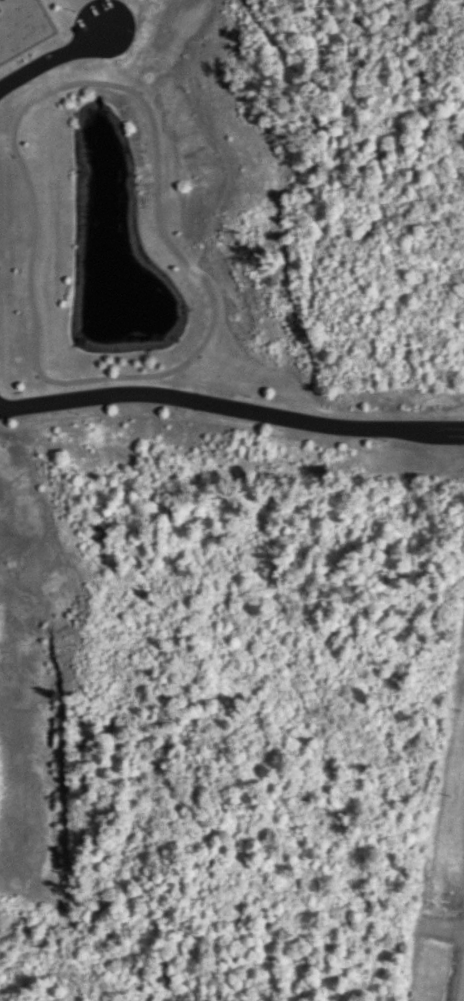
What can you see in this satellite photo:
road: (54, 58)
road: (5, 142)
road: (204, 335)
road: (231, 408)

